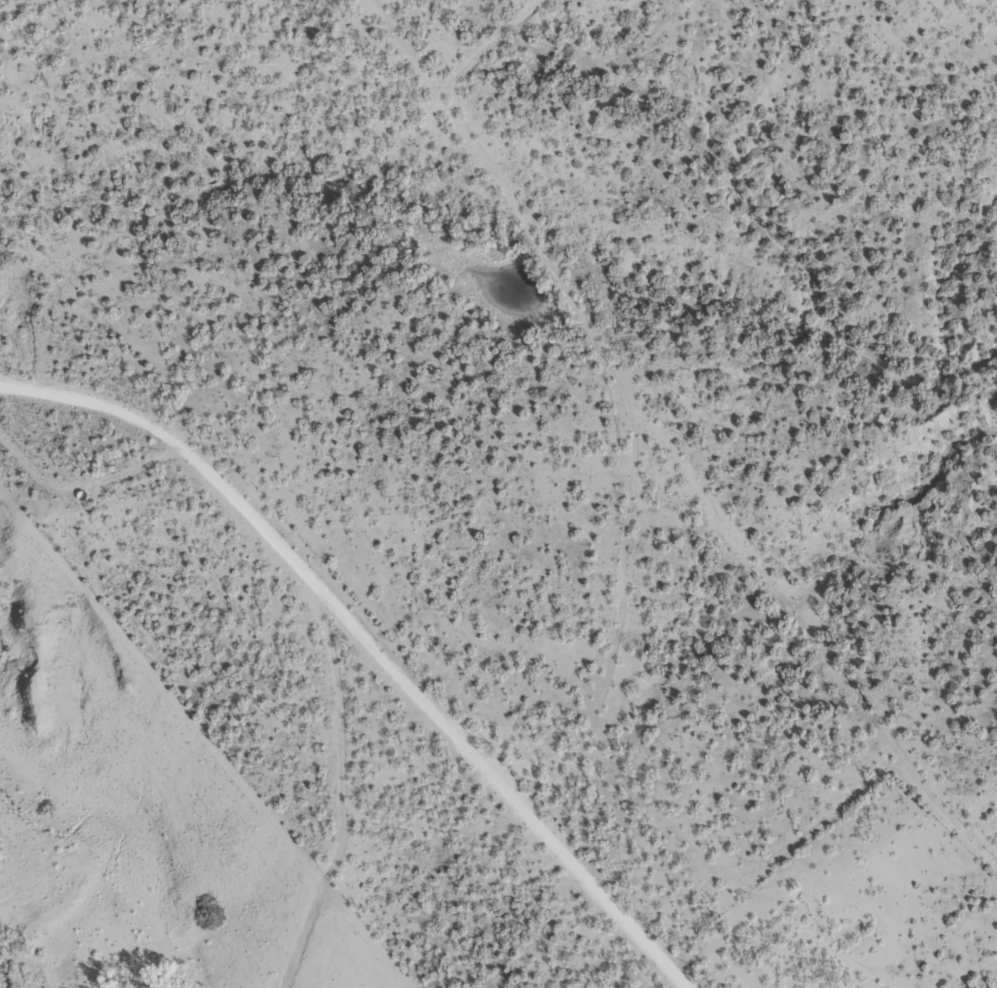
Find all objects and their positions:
road: (378, 639)
road: (413, 855)

